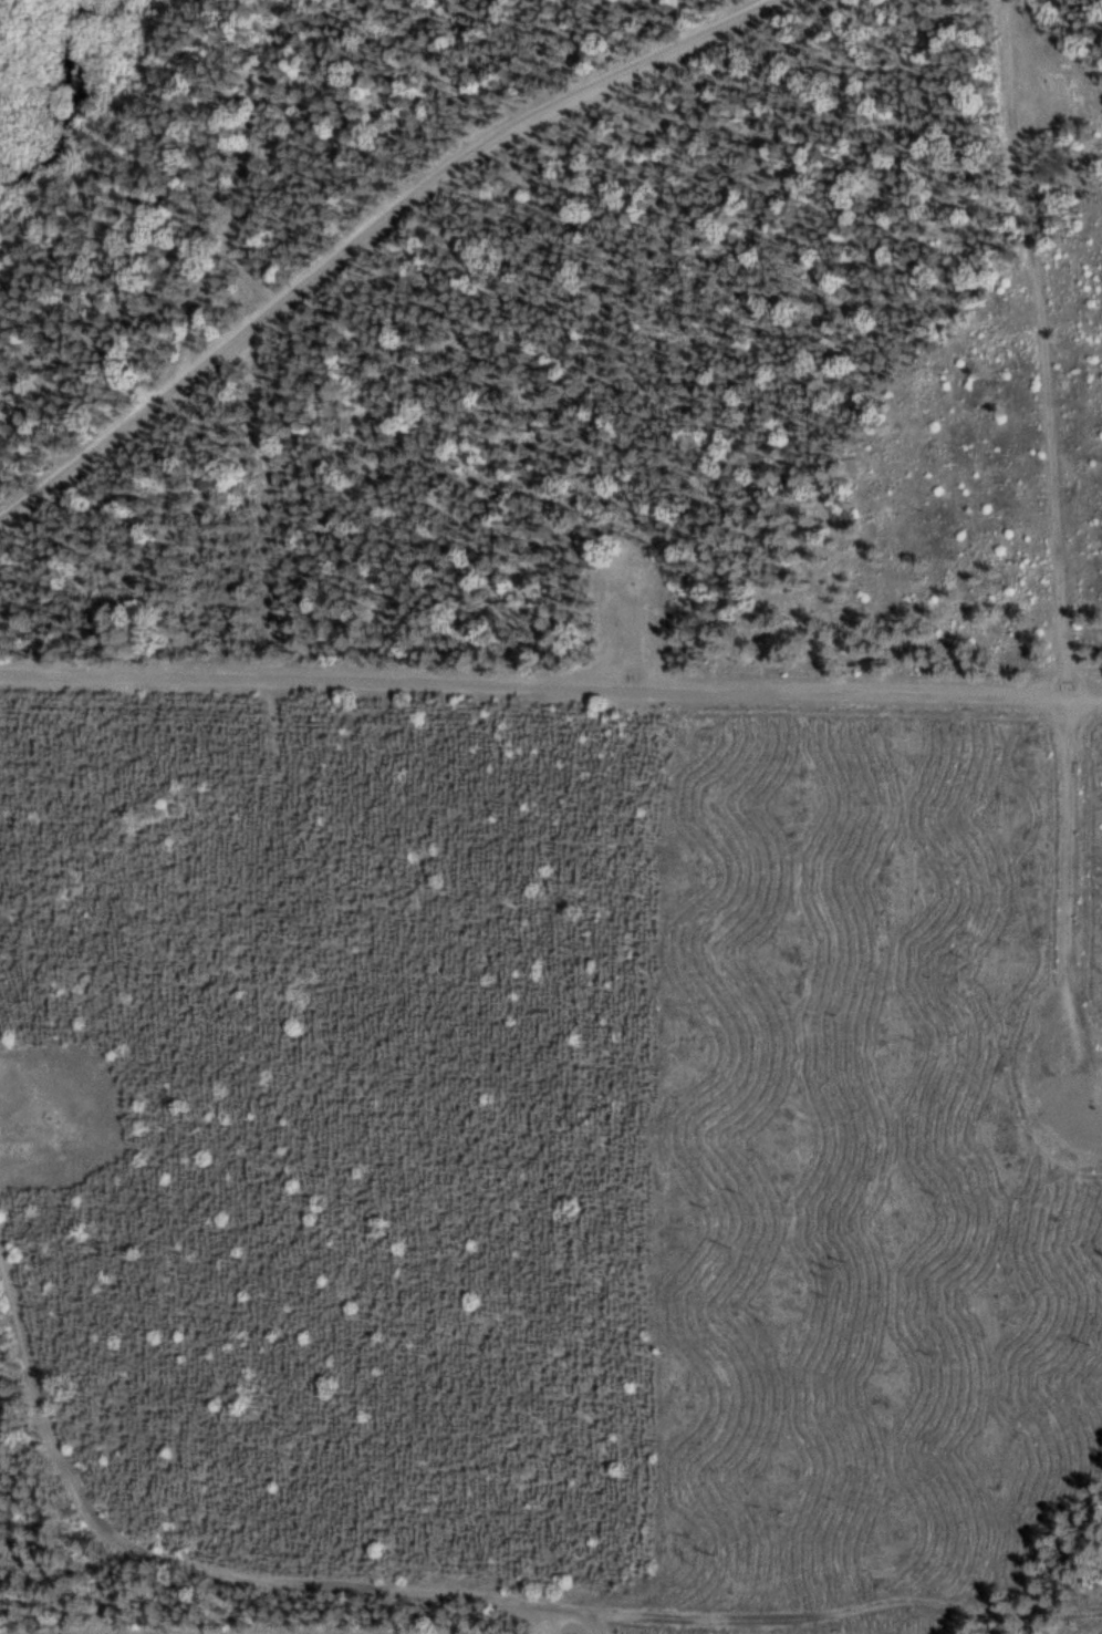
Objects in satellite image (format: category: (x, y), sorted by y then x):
road: (236, 161)
road: (371, 228)
road: (1052, 539)
road: (550, 683)
road: (186, 1565)

